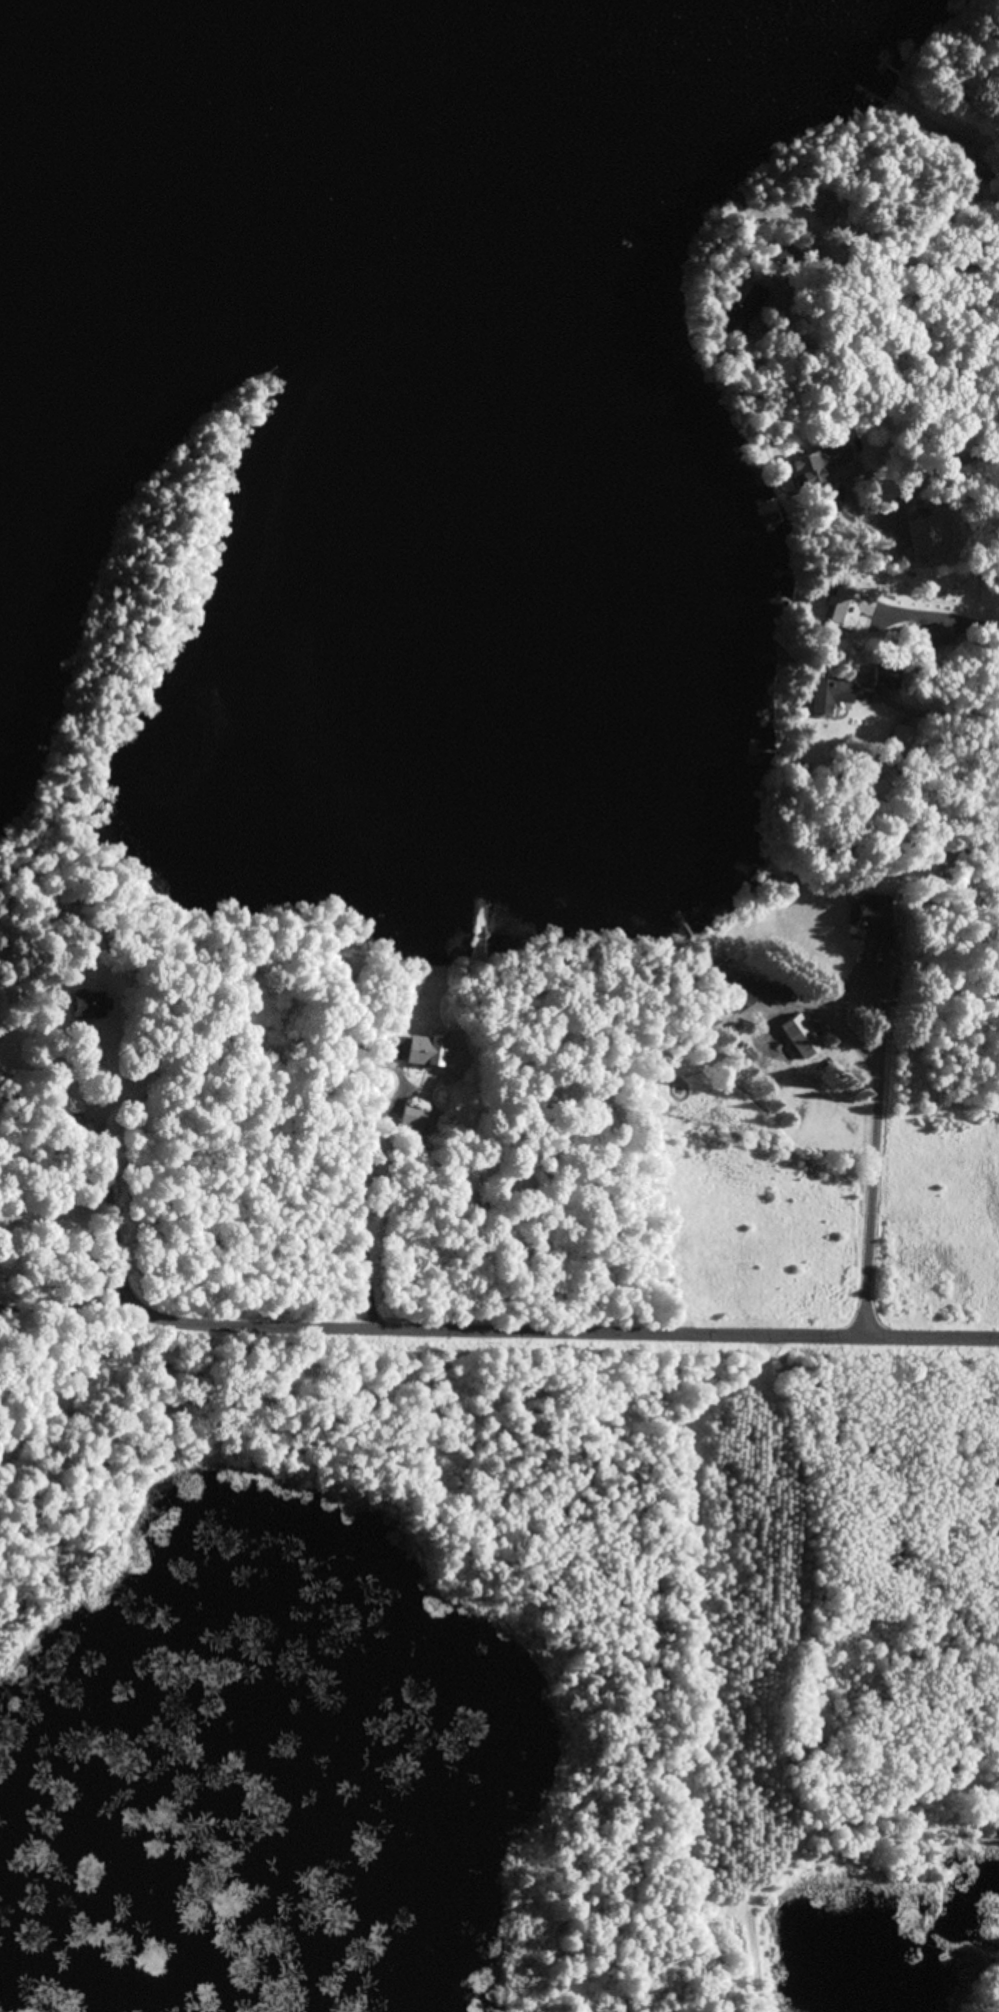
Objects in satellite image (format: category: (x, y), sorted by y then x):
building: (815, 209)
building: (819, 469)
building: (850, 611)
road: (931, 621)
building: (936, 639)
building: (831, 695)
building: (902, 742)
building: (874, 924)
building: (343, 969)
building: (743, 997)
building: (85, 1007)
building: (780, 1013)
building: (801, 1039)
building: (426, 1051)
building: (415, 1122)
road: (886, 1168)
road: (462, 1337)

